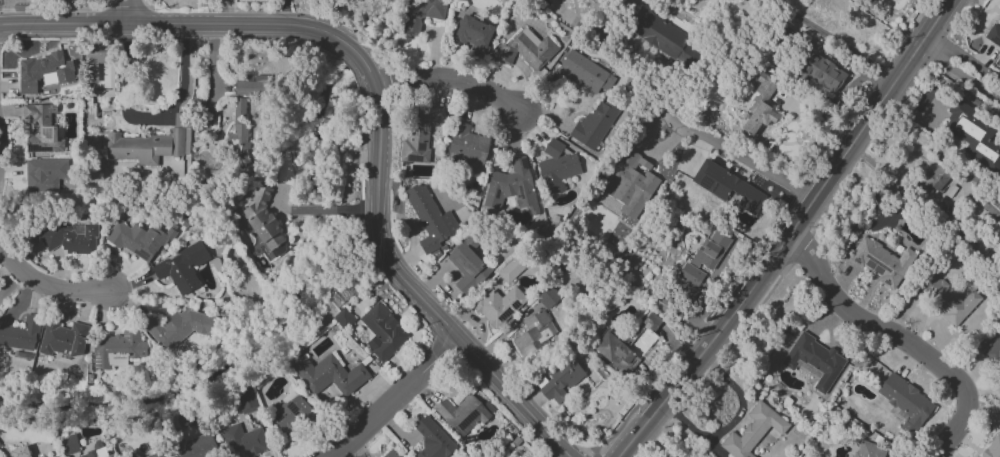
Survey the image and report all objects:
road: (129, 11)
building: (419, 15)
road: (197, 23)
building: (474, 34)
building: (659, 34)
building: (993, 34)
road: (833, 41)
building: (527, 49)
road: (963, 62)
building: (43, 72)
building: (584, 73)
building: (823, 73)
road: (213, 76)
road: (963, 77)
road: (451, 82)
building: (252, 84)
road: (180, 92)
building: (760, 106)
building: (239, 110)
building: (595, 123)
building: (40, 128)
rooftop solar panel: (49, 132)
building: (419, 135)
road: (694, 135)
building: (973, 135)
building: (239, 144)
building: (144, 146)
rooftop solar panel: (419, 146)
building: (467, 148)
rooftop solar panel: (36, 149)
rooftop solar panel: (414, 158)
rooftop solar panel: (523, 164)
building: (557, 167)
building: (45, 174)
building: (934, 180)
building: (629, 182)
building: (727, 186)
building: (512, 187)
rooftop solar panel: (519, 192)
road: (279, 206)
road: (356, 209)
road: (313, 210)
building: (429, 219)
road: (790, 232)
building: (69, 237)
building: (139, 239)
building: (711, 249)
building: (882, 261)
building: (468, 265)
rooftop solar panel: (462, 267)
building: (181, 268)
building: (511, 269)
building: (690, 280)
road: (48, 285)
road: (415, 291)
building: (548, 297)
building: (946, 298)
rooftop solar panel: (516, 304)
building: (499, 305)
rooftop solar panel: (509, 310)
building: (343, 318)
building: (178, 327)
building: (382, 332)
building: (534, 332)
building: (20, 334)
rooftop solar panel: (126, 335)
road: (899, 338)
building: (63, 339)
building: (626, 345)
building: (117, 348)
building: (994, 352)
rooftop solar panel: (64, 356)
rooftop solar panel: (97, 360)
building: (814, 360)
building: (329, 375)
building: (562, 379)
road: (393, 398)
building: (246, 400)
building: (906, 404)
rooftop solar panel: (292, 408)
building: (464, 413)
building: (292, 415)
road: (982, 416)
rooftop solar panel: (278, 417)
rooftop solar panel: (467, 420)
road: (732, 421)
building: (753, 431)
building: (432, 440)
building: (243, 441)
building: (68, 445)
building: (195, 447)
building: (992, 448)
building: (868, 450)
building: (20, 452)
building: (156, 454)
building: (391, 454)
building: (53, 456)

